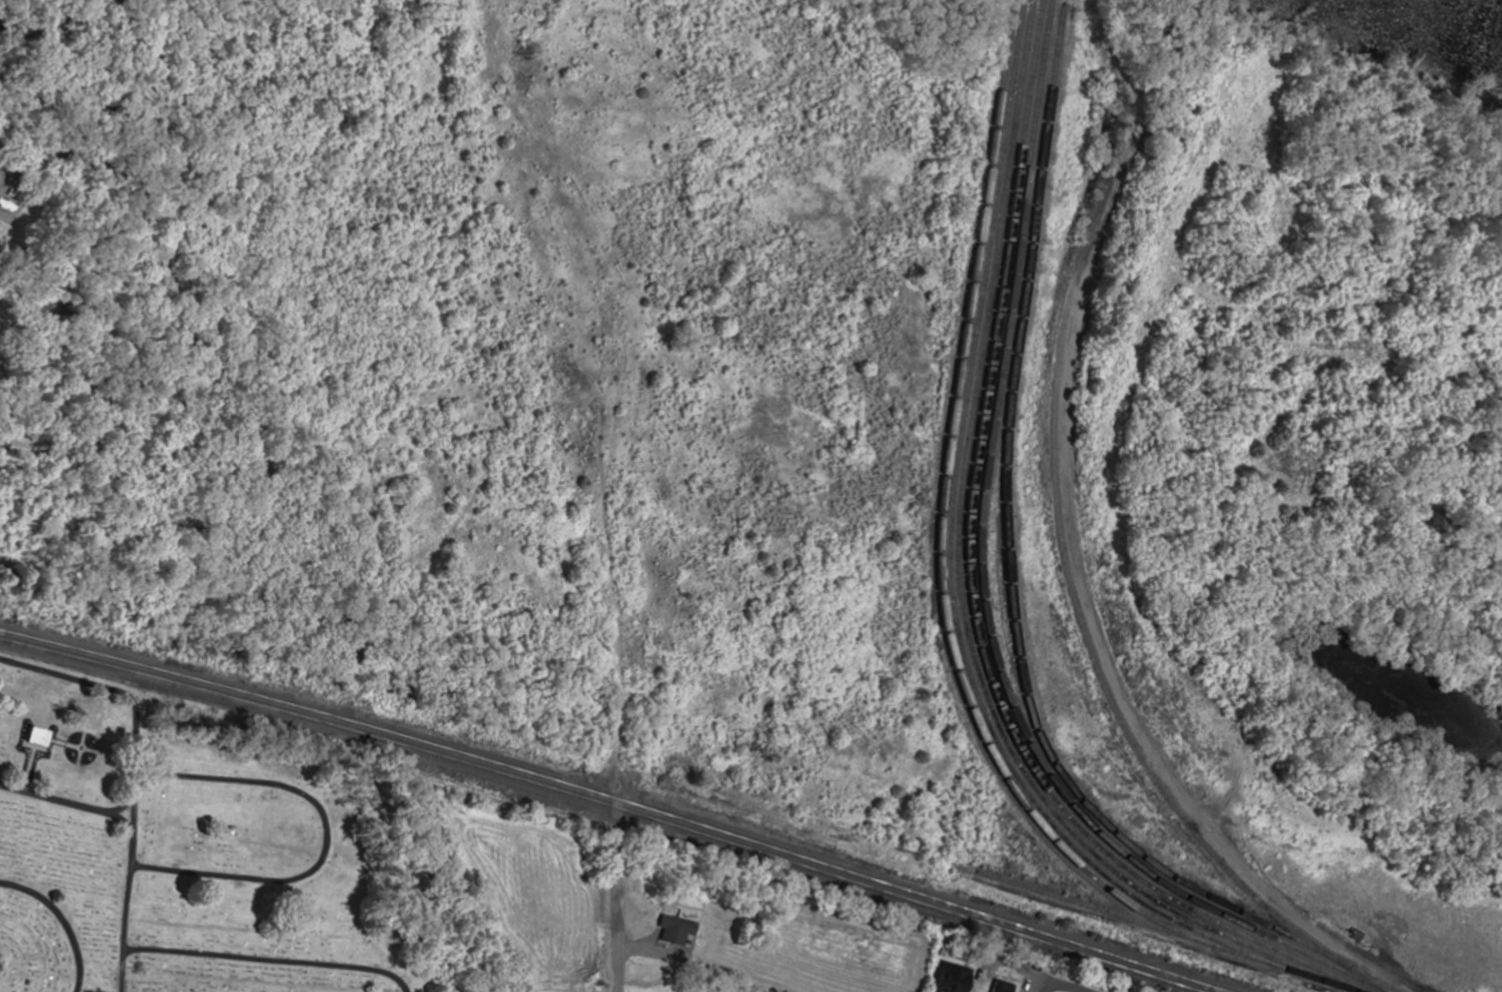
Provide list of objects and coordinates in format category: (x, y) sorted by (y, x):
road: (134, 777)
railway: (612, 800)
road: (69, 803)
railway: (597, 804)
road: (123, 807)
road: (325, 838)
park: (193, 851)
railway: (1037, 892)
road: (620, 906)
road: (63, 919)
road: (266, 960)
road: (992, 965)
road: (1035, 985)

